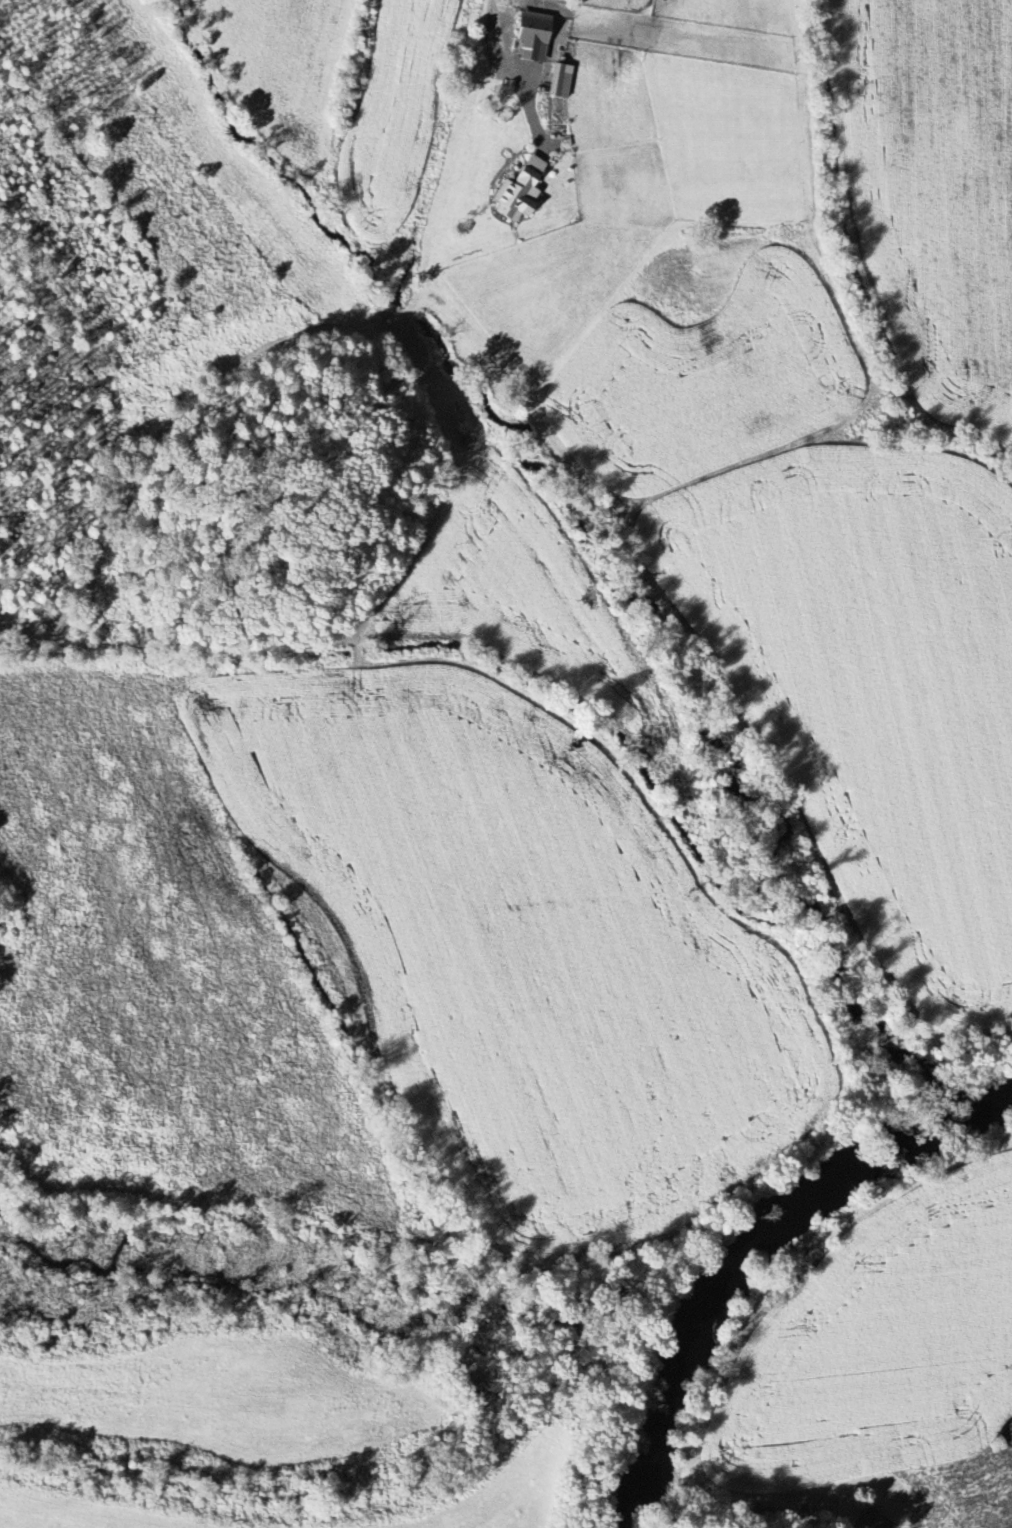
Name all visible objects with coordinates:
building: (534, 36)
road: (502, 66)
building: (560, 81)
building: (519, 192)
river: (969, 1114)
river: (720, 1287)
building: (874, 1520)
road: (813, 1523)

